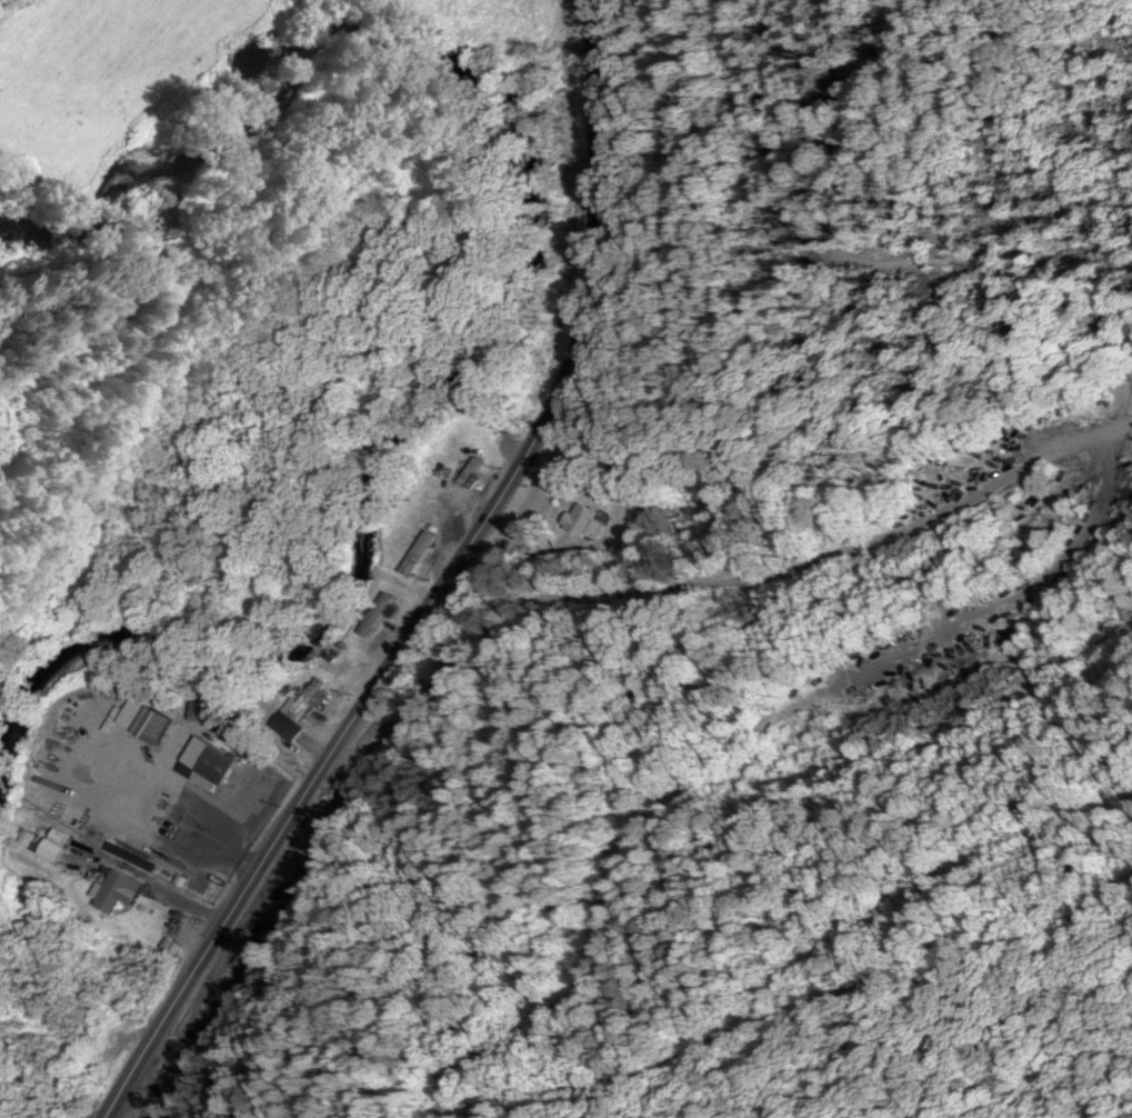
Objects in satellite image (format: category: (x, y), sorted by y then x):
river: (532, 273)
road: (973, 492)
building: (585, 522)
road: (441, 586)
building: (379, 615)
building: (310, 700)
building: (212, 710)
building: (150, 720)
building: (210, 763)
building: (60, 844)
building: (120, 889)

